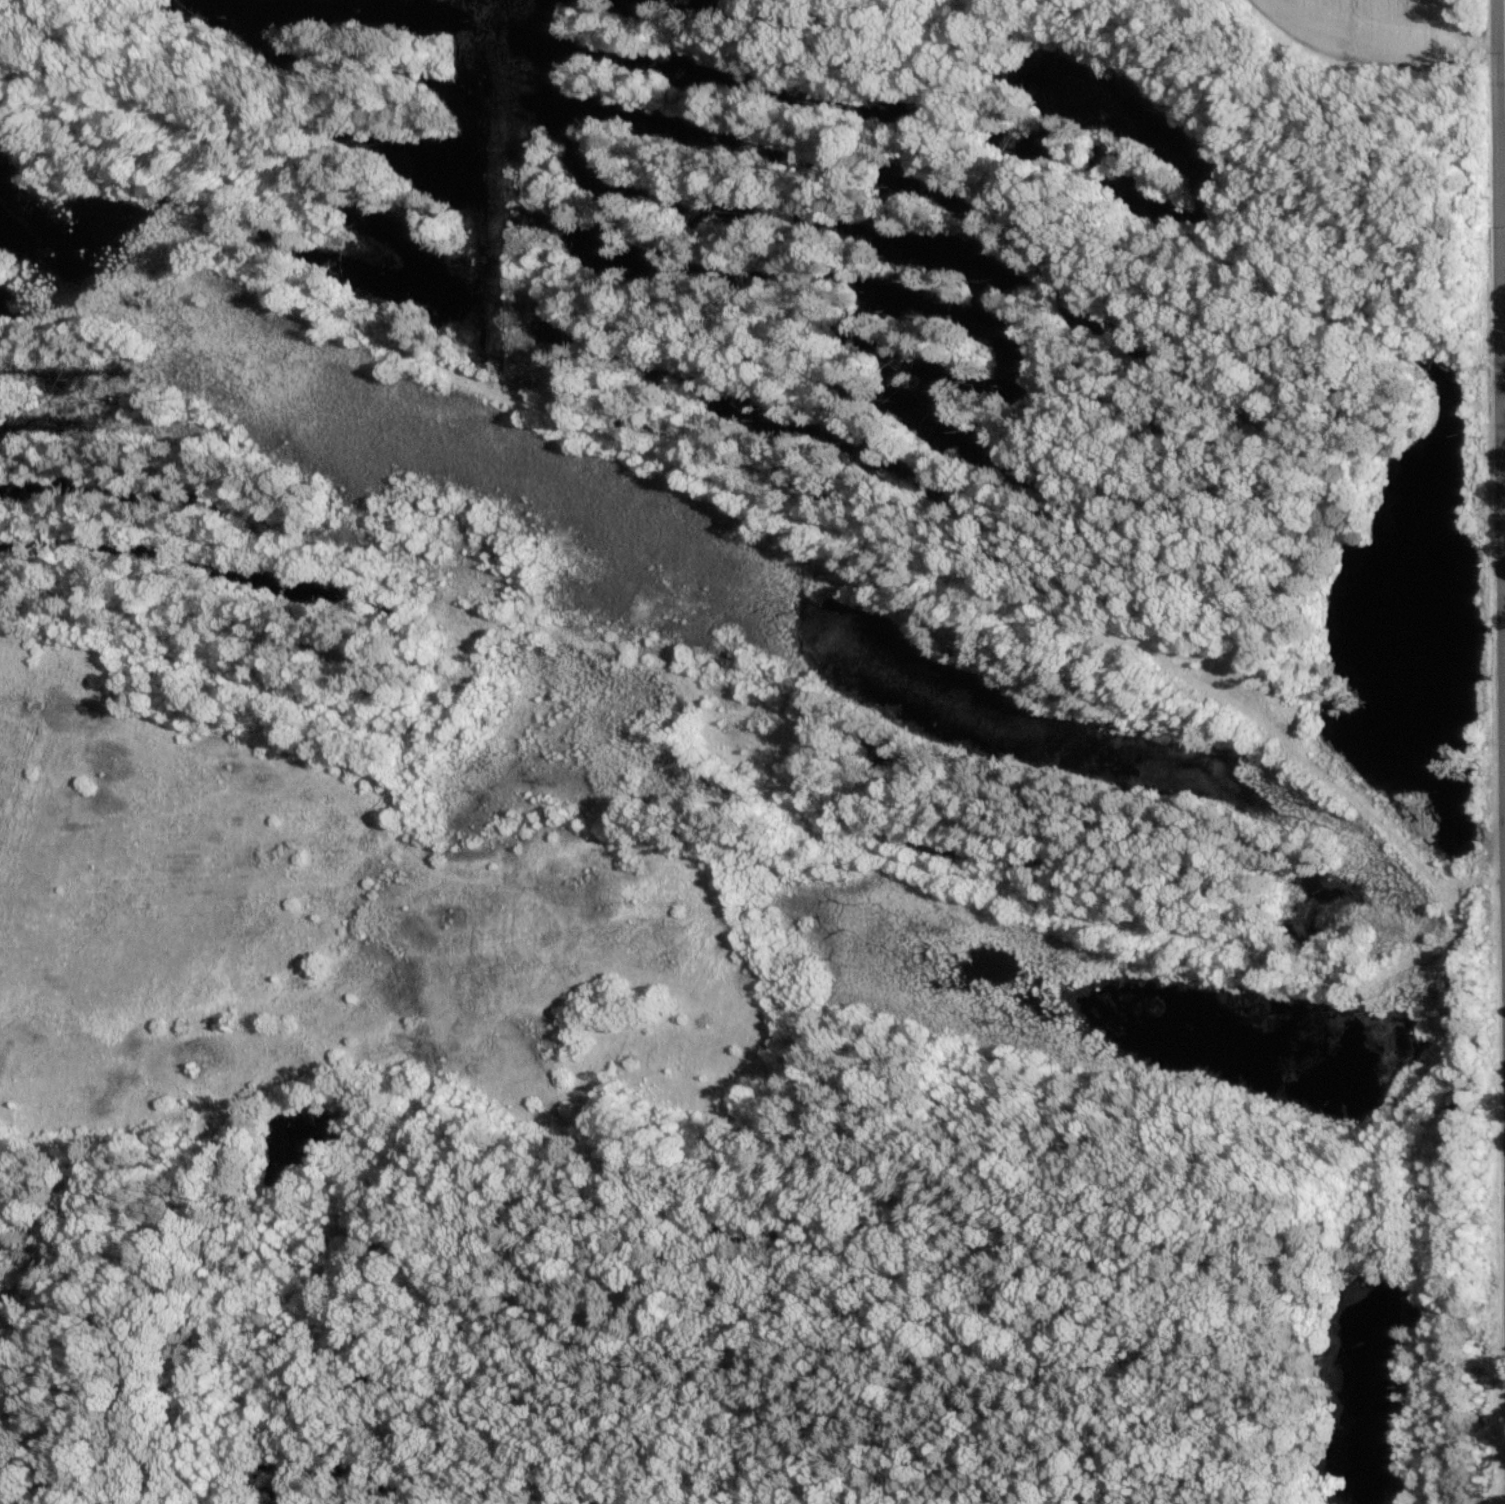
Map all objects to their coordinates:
road: (1501, 348)

